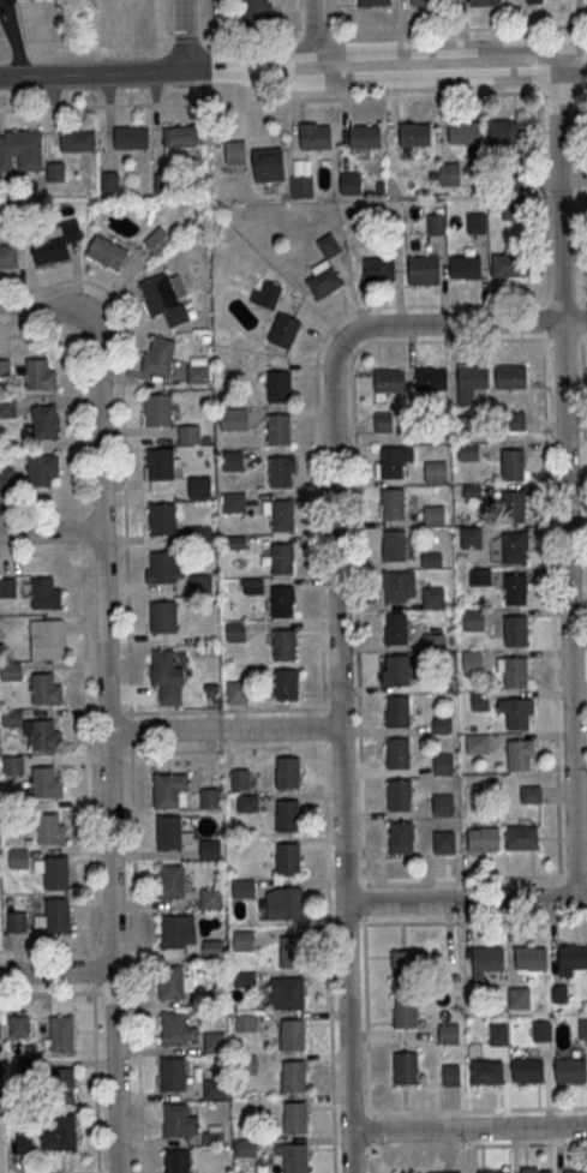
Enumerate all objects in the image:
building: (426, 1)
building: (541, 1)
building: (373, 2)
building: (485, 4)
road: (331, 7)
building: (258, 13)
road: (297, 17)
road: (579, 23)
road: (158, 25)
road: (317, 29)
road: (457, 29)
road: (317, 32)
road: (186, 34)
road: (251, 35)
road: (13, 37)
road: (185, 37)
road: (387, 52)
road: (315, 72)
road: (94, 73)
road: (387, 82)
road: (293, 98)
building: (465, 133)
building: (504, 133)
building: (415, 136)
building: (181, 137)
building: (317, 138)
building: (366, 138)
building: (132, 139)
building: (78, 142)
building: (22, 151)
building: (235, 151)
building: (268, 164)
building: (56, 173)
building: (449, 175)
building: (514, 181)
building: (110, 182)
building: (163, 184)
building: (351, 184)
building: (303, 188)
building: (513, 213)
building: (14, 221)
building: (477, 223)
building: (436, 226)
building: (157, 241)
building: (56, 245)
building: (108, 255)
building: (7, 257)
building: (508, 267)
building: (467, 269)
building: (379, 270)
building: (425, 271)
building: (323, 280)
building: (265, 293)
building: (164, 298)
road: (586, 303)
road: (425, 305)
road: (44, 313)
road: (574, 321)
building: (283, 330)
road: (16, 333)
building: (160, 357)
building: (5, 370)
building: (196, 373)
building: (38, 375)
building: (510, 378)
building: (432, 379)
building: (475, 379)
building: (390, 382)
building: (281, 388)
building: (7, 408)
building: (160, 412)
building: (234, 419)
building: (44, 421)
building: (383, 421)
building: (515, 421)
building: (280, 431)
building: (188, 435)
building: (233, 460)
building: (394, 460)
building: (160, 463)
building: (513, 465)
building: (38, 471)
road: (565, 472)
building: (281, 473)
building: (436, 473)
building: (7, 479)
building: (197, 487)
building: (472, 491)
building: (233, 502)
building: (391, 503)
building: (511, 505)
road: (64, 509)
building: (435, 515)
building: (282, 516)
building: (162, 519)
road: (52, 533)
building: (200, 534)
building: (472, 539)
building: (236, 541)
building: (394, 545)
building: (514, 547)
road: (42, 555)
building: (283, 559)
building: (432, 561)
building: (162, 565)
building: (480, 577)
building: (198, 585)
building: (399, 587)
building: (7, 590)
building: (515, 590)
building: (46, 596)
building: (433, 599)
building: (284, 603)
building: (162, 616)
building: (474, 621)
building: (235, 630)
building: (397, 630)
building: (515, 630)
building: (48, 640)
road: (337, 644)
building: (435, 644)
building: (284, 646)
building: (453, 657)
building: (473, 660)
building: (162, 670)
building: (396, 670)
road: (128, 671)
building: (12, 672)
building: (516, 675)
building: (442, 684)
building: (288, 687)
building: (47, 690)
building: (236, 693)
building: (480, 702)
building: (396, 711)
building: (517, 713)
building: (12, 719)
building: (443, 726)
road: (278, 728)
road: (164, 731)
building: (46, 737)
building: (478, 746)
road: (110, 747)
road: (89, 752)
building: (397, 753)
building: (520, 755)
building: (444, 765)
building: (14, 767)
building: (287, 773)
building: (239, 778)
building: (47, 784)
building: (167, 792)
building: (399, 795)
building: (531, 796)
building: (209, 797)
building: (247, 801)
building: (444, 806)
building: (288, 815)
building: (50, 831)
building: (169, 834)
building: (401, 837)
building: (522, 839)
building: (484, 840)
building: (443, 844)
building: (209, 849)
building: (19, 860)
building: (287, 860)
building: (58, 875)
road: (474, 876)
building: (172, 884)
building: (242, 888)
building: (210, 898)
road: (456, 900)
building: (289, 903)
building: (59, 917)
road: (465, 921)
building: (18, 923)
building: (174, 934)
building: (244, 940)
building: (210, 947)
building: (292, 952)
building: (573, 957)
building: (487, 958)
building: (529, 958)
building: (402, 965)
road: (94, 971)
road: (58, 972)
building: (244, 979)
building: (172, 985)
building: (290, 993)
building: (558, 993)
building: (520, 1000)
building: (405, 1012)
building: (246, 1023)
road: (367, 1027)
building: (20, 1028)
building: (174, 1030)
building: (583, 1030)
building: (541, 1031)
building: (64, 1035)
building: (292, 1035)
building: (449, 1035)
building: (499, 1036)
building: (214, 1042)
building: (250, 1064)
building: (405, 1067)
building: (31, 1069)
building: (527, 1070)
building: (570, 1070)
building: (486, 1072)
building: (0, 1073)
building: (450, 1073)
building: (174, 1076)
building: (293, 1076)
road: (96, 1083)
building: (62, 1084)
building: (215, 1089)
building: (1, 1107)
road: (468, 1109)
building: (295, 1118)
building: (178, 1123)
road: (467, 1129)
building: (65, 1133)
building: (25, 1144)
road: (468, 1145)
building: (246, 1148)
building: (295, 1159)
building: (176, 1161)
building: (531, 1169)
building: (450, 1172)
building: (497, 1172)
building: (579, 1172)

